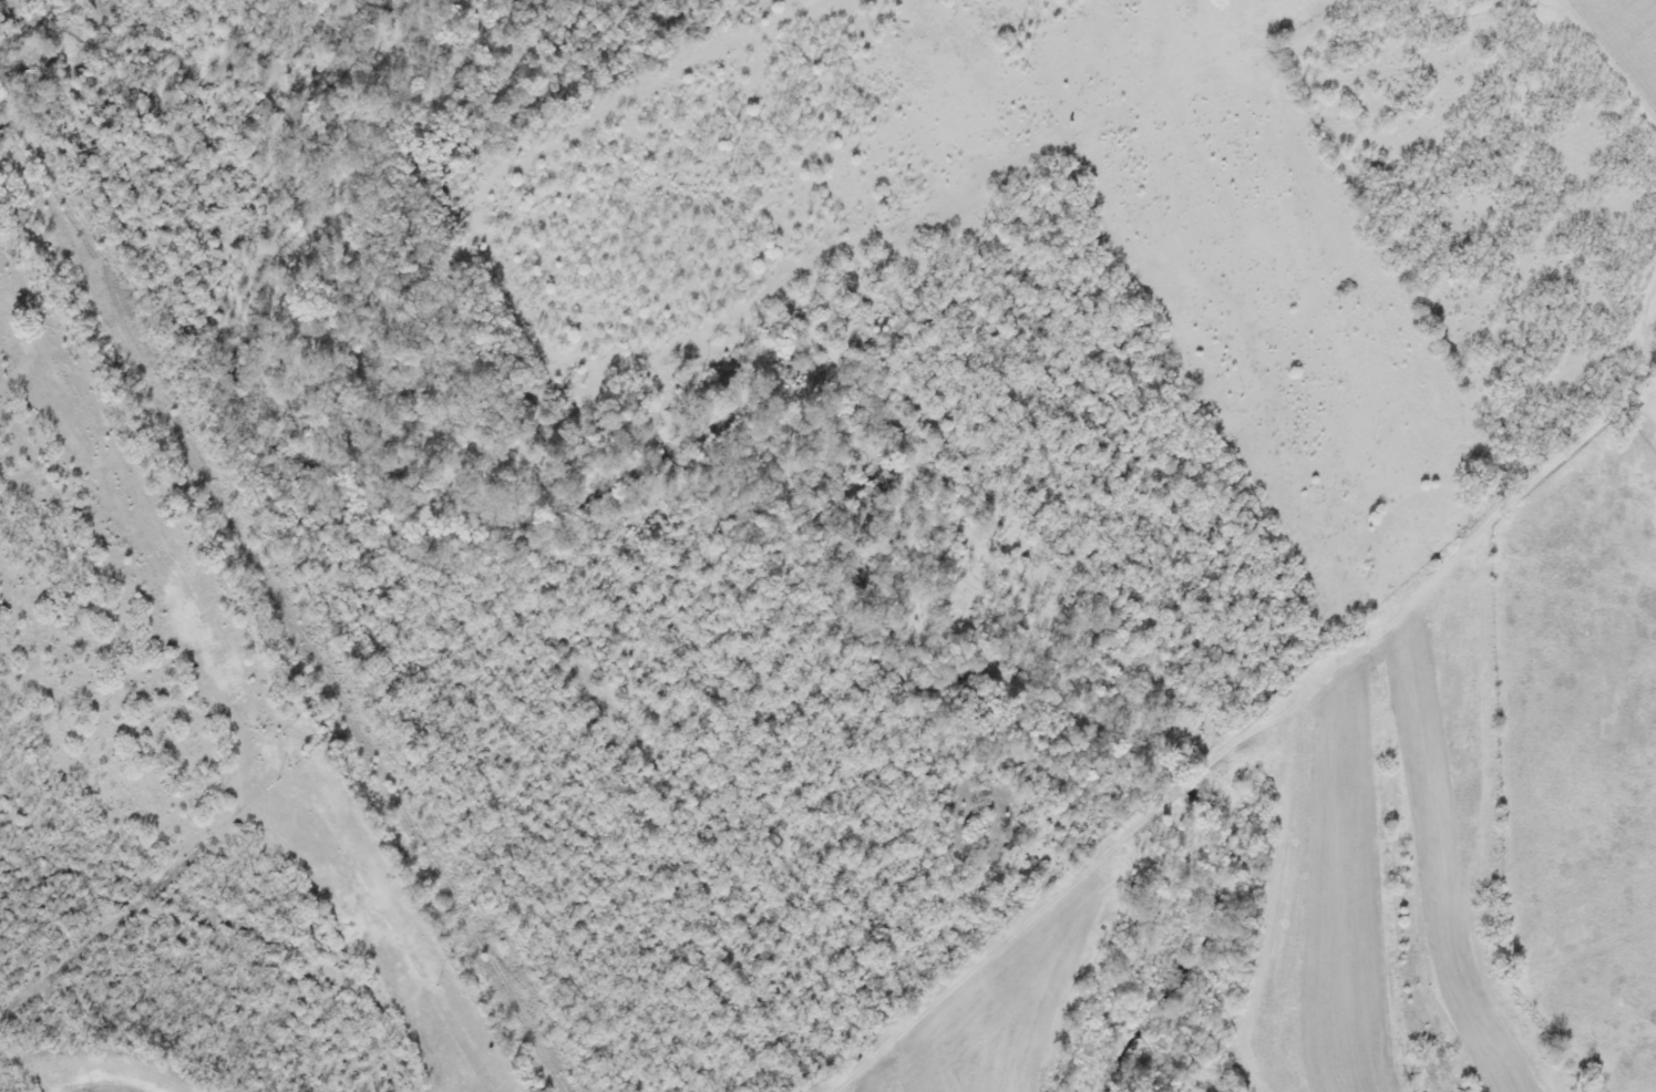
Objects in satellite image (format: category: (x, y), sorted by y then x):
road: (1247, 742)

